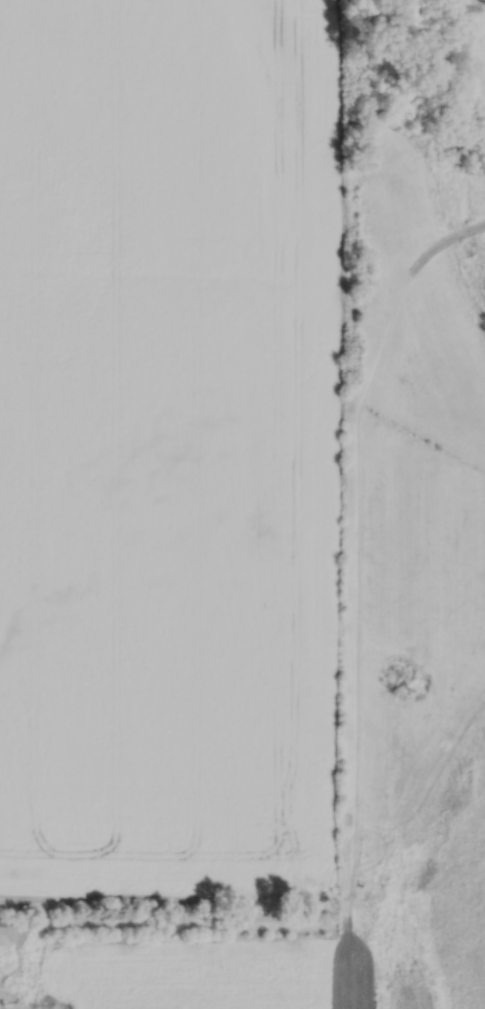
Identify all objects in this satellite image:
building: (4, 933)

